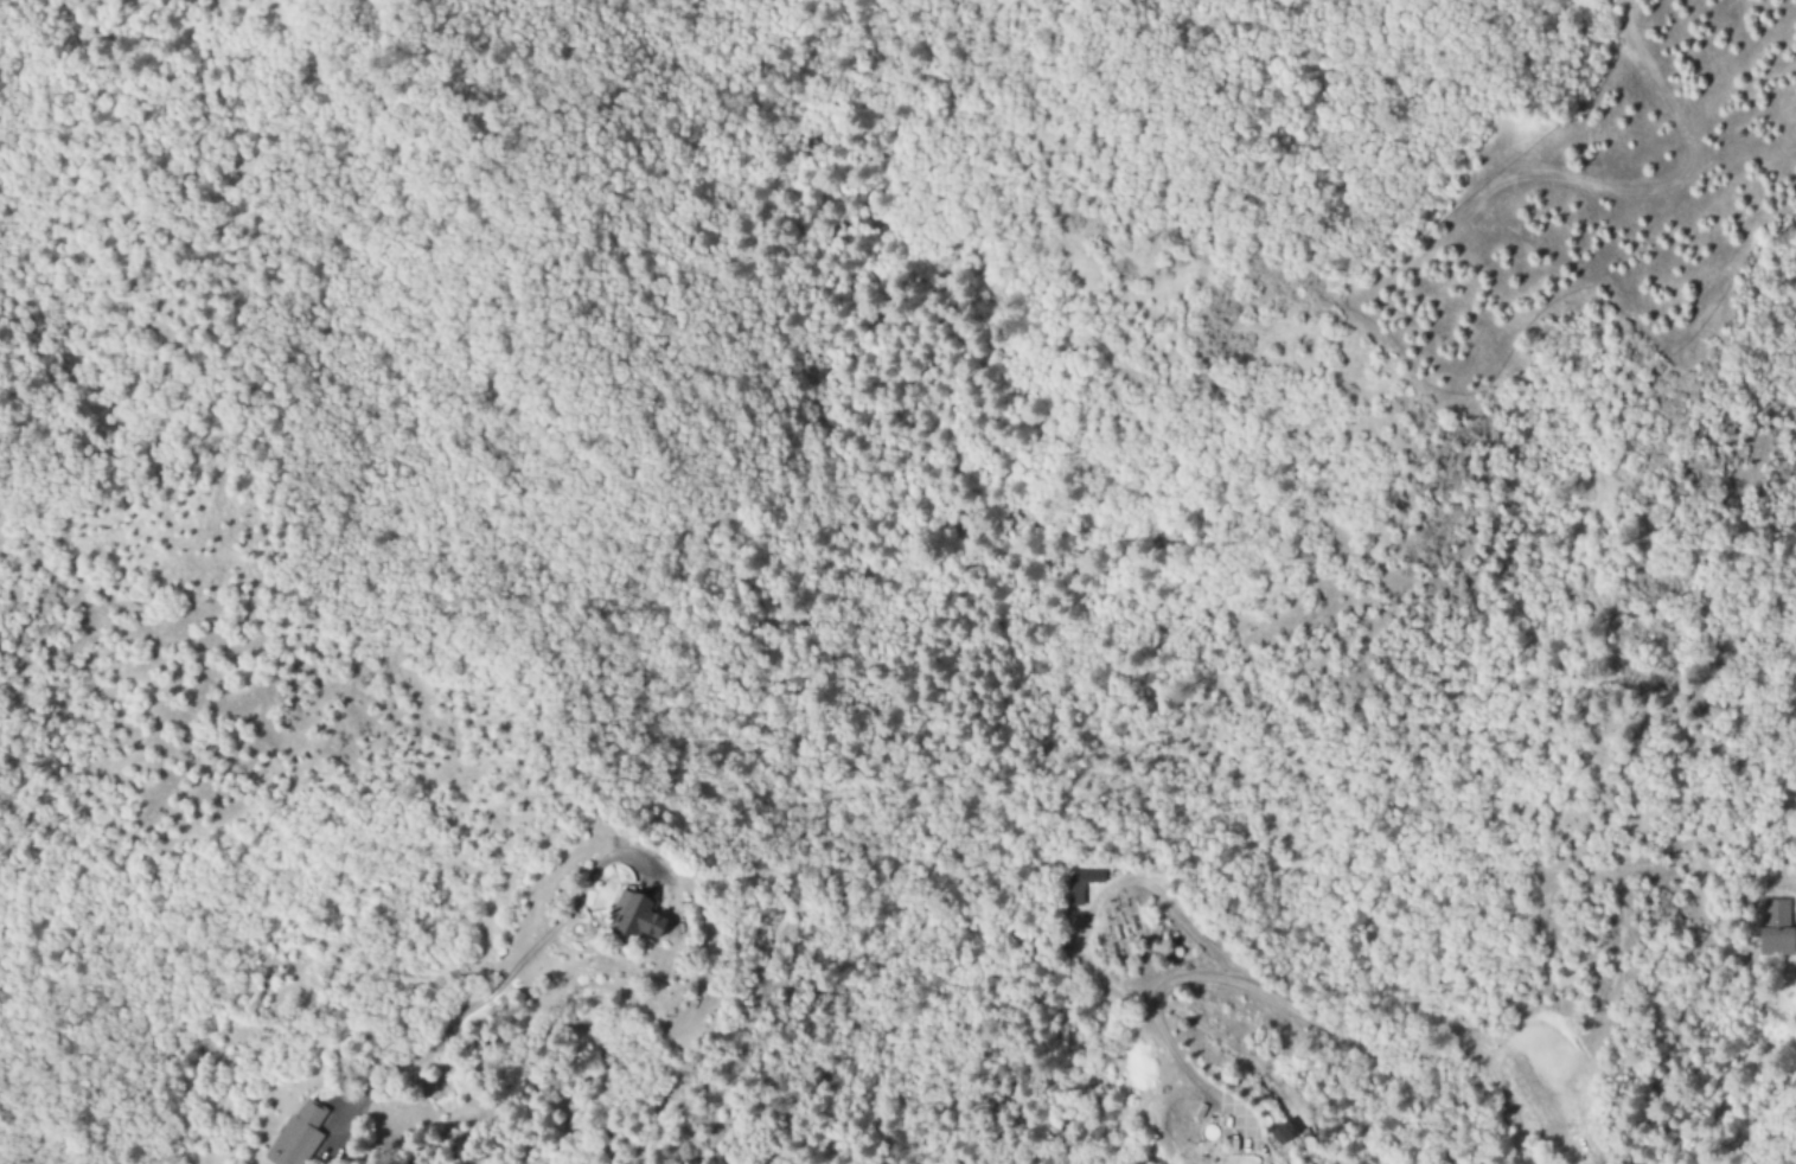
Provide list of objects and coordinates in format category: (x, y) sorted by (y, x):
building: (1081, 884)
building: (670, 917)
building: (1776, 930)
building: (1279, 1133)
building: (318, 1137)

